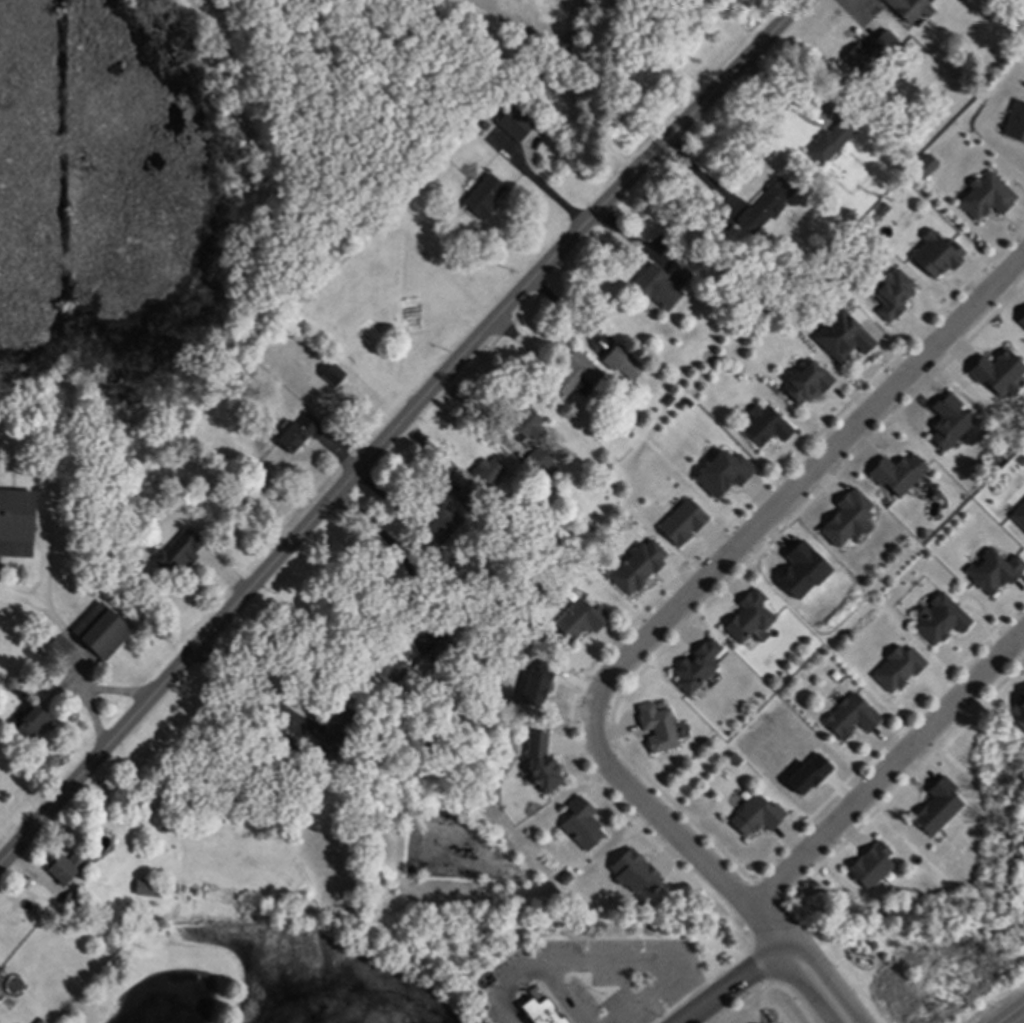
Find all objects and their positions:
building: (906, 10)
road: (523, 86)
road: (805, 116)
building: (512, 124)
building: (826, 144)
road: (537, 181)
building: (481, 197)
building: (765, 205)
building: (932, 254)
building: (658, 286)
building: (889, 293)
building: (840, 337)
building: (612, 356)
building: (574, 375)
building: (803, 382)
building: (944, 422)
building: (524, 423)
road: (397, 426)
building: (762, 427)
building: (292, 434)
building: (534, 460)
building: (893, 474)
building: (15, 523)
building: (439, 527)
building: (176, 554)
building: (635, 566)
road: (711, 572)
road: (418, 590)
building: (745, 616)
building: (937, 619)
building: (578, 620)
building: (97, 632)
building: (53, 646)
road: (73, 654)
building: (694, 665)
building: (895, 669)
road: (118, 690)
road: (255, 691)
building: (1017, 712)
building: (848, 717)
building: (26, 725)
building: (655, 726)
building: (539, 763)
road: (889, 770)
building: (935, 806)
building: (753, 816)
building: (580, 825)
building: (868, 866)
building: (61, 867)
building: (147, 888)
road: (771, 926)
road: (658, 960)
road: (827, 979)
road: (731, 984)
road: (766, 985)
road: (806, 985)
road: (502, 987)
road: (559, 992)
road: (1008, 1011)
building: (541, 1012)
road: (1018, 1018)

